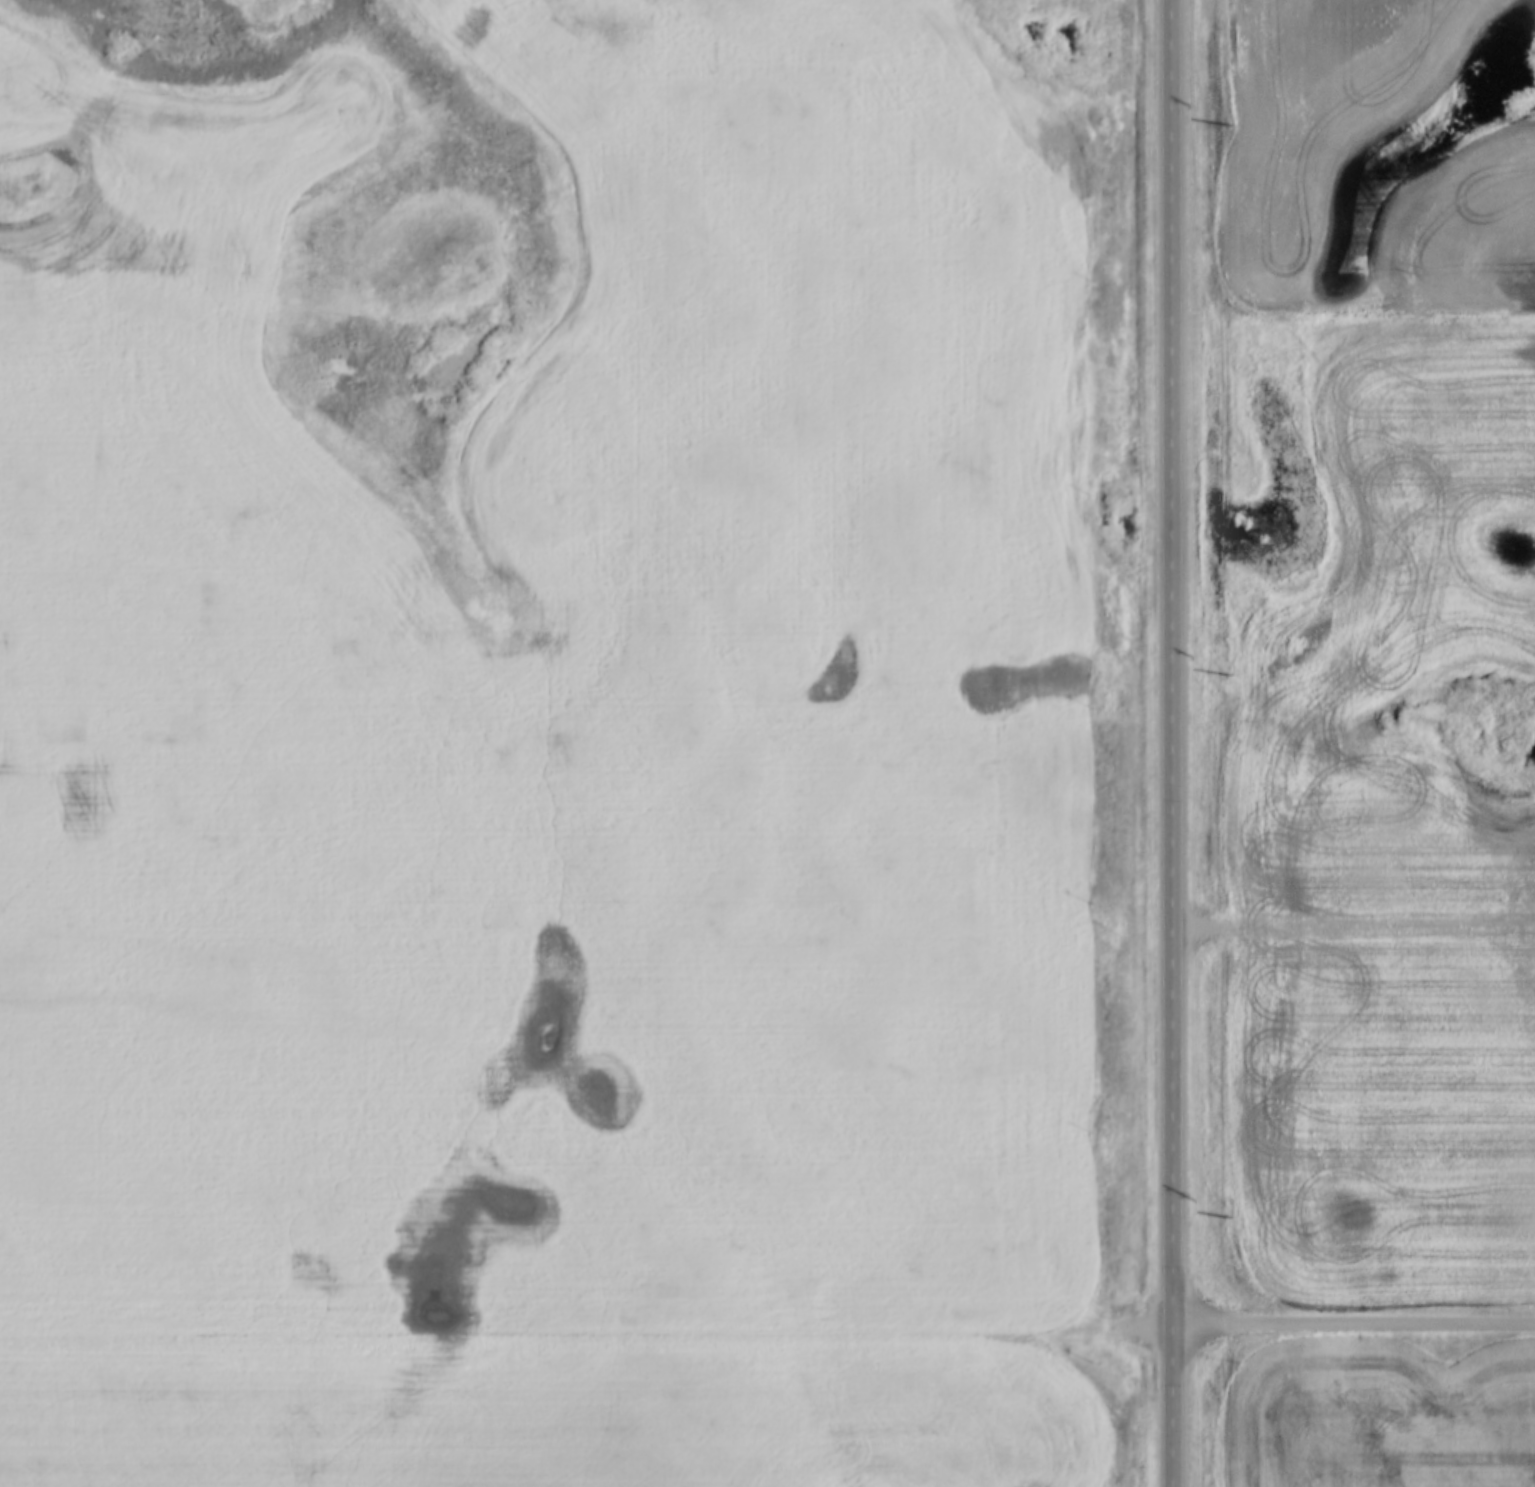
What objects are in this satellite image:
road: (1169, 743)
road: (1345, 928)
road: (1528, 928)
road: (1528, 932)
road: (1352, 1323)

